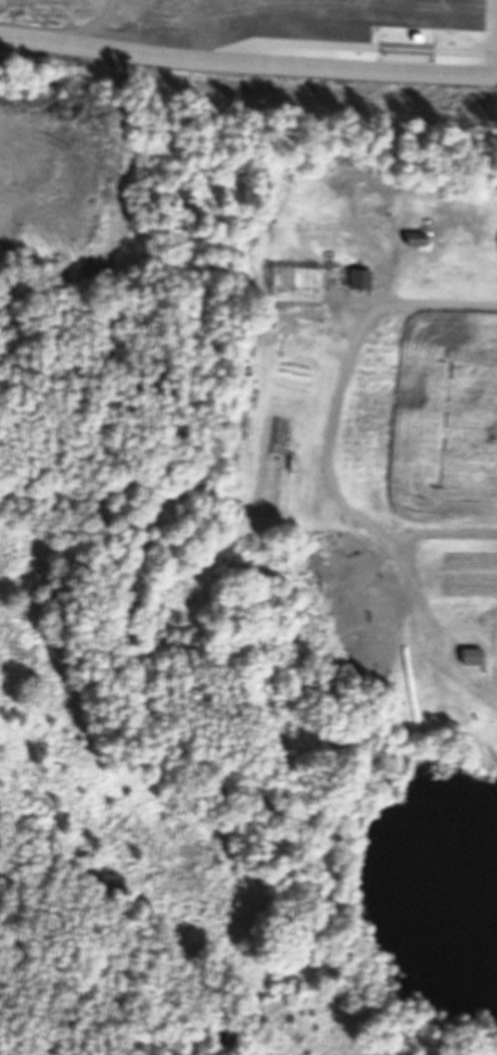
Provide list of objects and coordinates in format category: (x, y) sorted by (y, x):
road: (409, 208)
building: (353, 227)
building: (472, 237)
building: (411, 241)
building: (329, 278)
building: (241, 387)
crop: (428, 474)
quarry: (156, 519)

